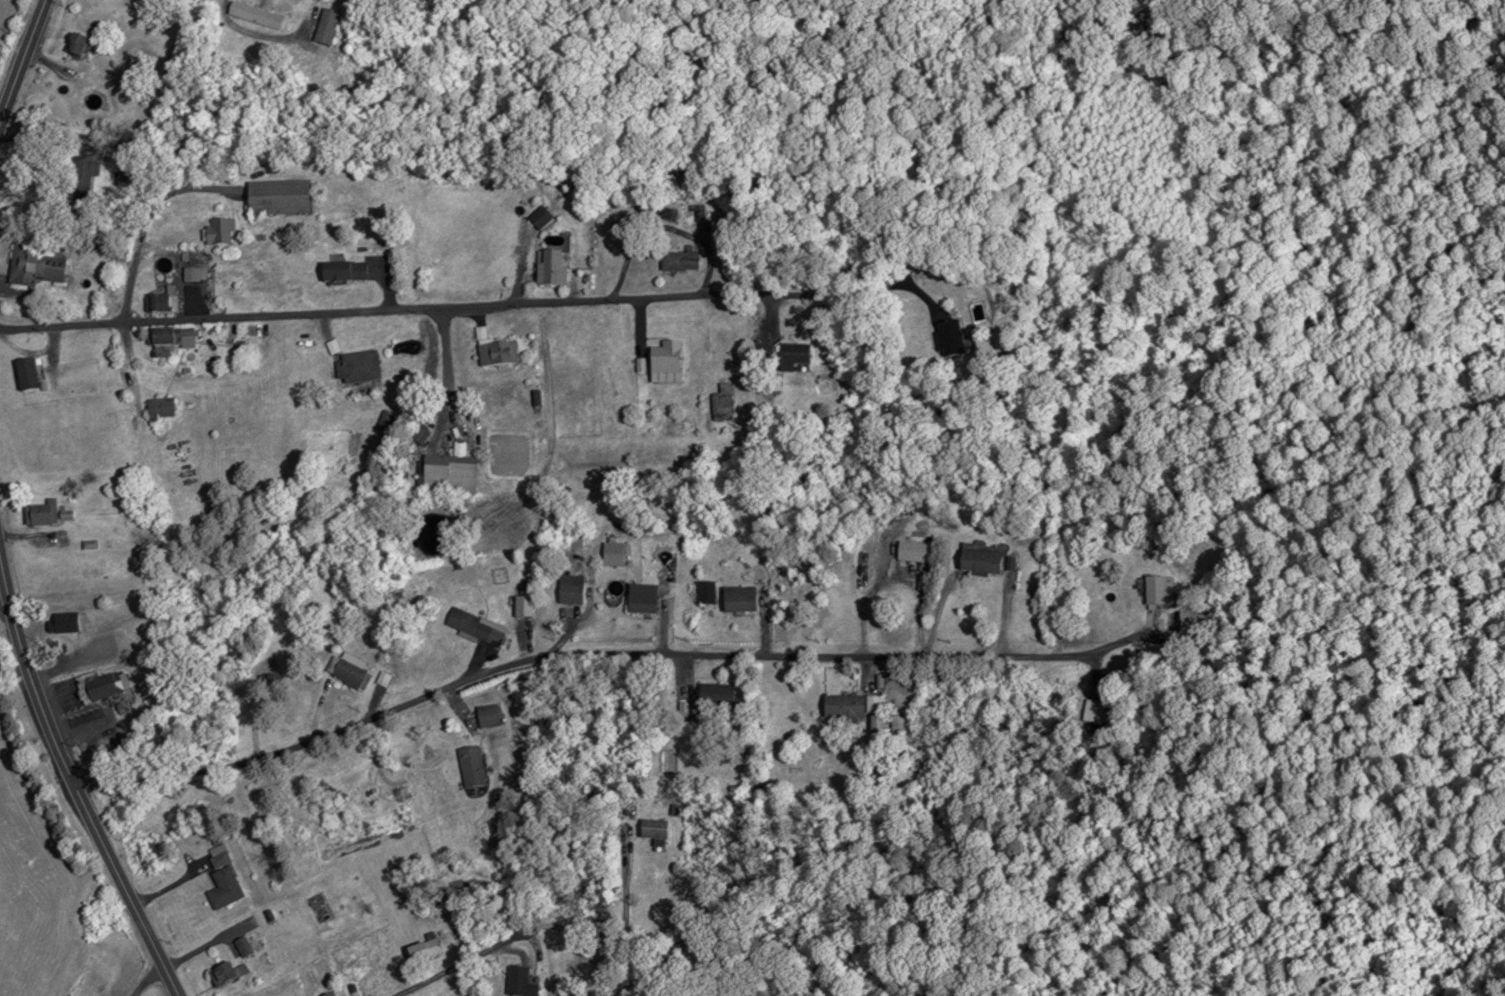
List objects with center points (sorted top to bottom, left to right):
building: (253, 14)
building: (325, 27)
road: (252, 32)
building: (76, 46)
road: (20, 60)
building: (276, 196)
building: (539, 217)
building: (217, 230)
building: (678, 260)
building: (32, 265)
building: (549, 267)
building: (192, 272)
building: (341, 272)
building: (161, 301)
road: (423, 308)
building: (949, 337)
building: (167, 340)
building: (493, 349)
building: (792, 355)
building: (664, 356)
building: (355, 366)
building: (27, 373)
building: (721, 402)
building: (158, 408)
building: (447, 474)
building: (40, 513)
building: (912, 552)
building: (982, 562)
building: (569, 589)
building: (705, 593)
building: (1159, 593)
building: (641, 599)
building: (738, 600)
building: (60, 623)
building: (474, 627)
road: (549, 657)
building: (347, 673)
building: (96, 686)
building: (715, 694)
building: (849, 706)
building: (1093, 711)
building: (486, 716)
building: (875, 725)
building: (897, 725)
building: (470, 766)
road: (74, 782)
building: (653, 829)
building: (221, 877)
building: (242, 947)
building: (421, 950)
road: (463, 964)
building: (225, 973)
road: (150, 981)
building: (519, 982)
building: (327, 994)

